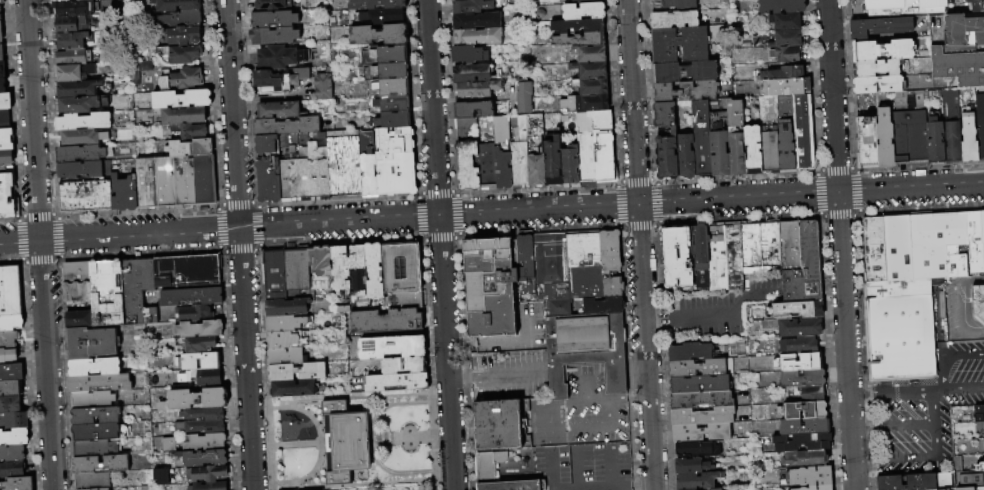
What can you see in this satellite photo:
building: (60, 0)
building: (580, 1)
building: (2, 2)
building: (273, 4)
building: (376, 4)
building: (676, 4)
building: (176, 5)
building: (882, 5)
building: (974, 5)
building: (471, 6)
building: (781, 6)
building: (0, 8)
building: (76, 8)
building: (583, 11)
building: (0, 16)
building: (378, 17)
building: (182, 19)
building: (273, 20)
building: (476, 20)
building: (673, 20)
building: (787, 21)
building: (71, 24)
building: (880, 28)
building: (963, 29)
building: (1, 32)
building: (593, 33)
building: (379, 35)
building: (185, 36)
building: (274, 36)
building: (477, 36)
building: (787, 39)
building: (70, 40)
building: (680, 45)
building: (882, 51)
building: (1, 53)
building: (181, 54)
building: (467, 54)
building: (591, 54)
building: (787, 54)
building: (385, 55)
building: (76, 57)
building: (280, 57)
building: (146, 66)
building: (958, 68)
building: (2, 69)
building: (876, 69)
building: (592, 70)
building: (385, 72)
building: (683, 72)
building: (74, 73)
building: (471, 73)
building: (786, 73)
building: (135, 78)
building: (181, 79)
building: (279, 82)
building: (2, 85)
building: (879, 85)
building: (323, 86)
building: (593, 87)
building: (786, 87)
building: (80, 88)
building: (388, 88)
building: (475, 88)
building: (933, 94)
building: (688, 96)
building: (523, 97)
building: (179, 98)
building: (5, 101)
road: (631, 102)
building: (392, 103)
building: (585, 103)
building: (77, 105)
building: (473, 109)
building: (278, 110)
building: (734, 113)
building: (181, 115)
building: (663, 115)
building: (4, 118)
building: (392, 120)
building: (592, 121)
building: (84, 122)
building: (980, 125)
building: (286, 126)
building: (465, 127)
building: (187, 130)
building: (909, 130)
building: (803, 133)
building: (785, 135)
building: (82, 137)
building: (884, 138)
building: (6, 139)
building: (969, 140)
building: (952, 143)
building: (265, 144)
building: (867, 144)
building: (936, 144)
building: (187, 147)
building: (701, 149)
building: (753, 150)
building: (80, 152)
building: (502, 153)
building: (719, 153)
building: (769, 153)
building: (736, 154)
building: (519, 156)
building: (685, 156)
building: (6, 158)
building: (666, 158)
building: (586, 159)
building: (605, 159)
building: (395, 161)
building: (553, 162)
building: (344, 164)
building: (367, 164)
building: (467, 166)
building: (487, 166)
building: (81, 168)
building: (570, 168)
building: (302, 169)
building: (536, 172)
building: (202, 178)
building: (268, 179)
building: (182, 180)
building: (163, 181)
building: (144, 182)
building: (122, 192)
building: (83, 194)
traffic signals: (837, 194)
road: (810, 195)
building: (8, 197)
traffic signals: (637, 205)
road: (318, 224)
road: (239, 244)
building: (768, 244)
building: (787, 244)
building: (946, 244)
road: (39, 245)
road: (438, 245)
building: (749, 245)
road: (840, 245)
building: (897, 247)
building: (873, 250)
building: (609, 251)
building: (674, 256)
building: (698, 256)
building: (732, 257)
building: (715, 258)
building: (525, 263)
building: (551, 264)
building: (583, 264)
building: (320, 266)
building: (346, 266)
building: (402, 267)
building: (803, 268)
building: (297, 269)
building: (188, 270)
building: (375, 271)
building: (275, 276)
road: (970, 282)
building: (359, 285)
building: (490, 286)
building: (611, 286)
building: (77, 287)
building: (896, 289)
building: (138, 291)
building: (10, 292)
building: (107, 293)
road: (757, 295)
building: (191, 297)
building: (404, 301)
building: (977, 303)
road: (740, 306)
building: (287, 307)
parking lot: (721, 310)
building: (793, 311)
building: (193, 313)
road: (959, 314)
road: (707, 318)
building: (80, 320)
building: (386, 321)
road: (658, 321)
building: (10, 323)
building: (288, 323)
building: (793, 327)
building: (200, 329)
building: (899, 338)
building: (8, 340)
building: (289, 340)
road: (514, 342)
building: (92, 343)
building: (585, 343)
building: (197, 344)
road: (460, 345)
building: (798, 346)
building: (392, 347)
road: (645, 347)
building: (689, 352)
building: (9, 355)
building: (286, 357)
road: (949, 357)
building: (797, 363)
building: (185, 364)
building: (404, 365)
building: (95, 367)
building: (699, 367)
building: (11, 372)
building: (297, 372)
parking lot: (508, 375)
building: (202, 377)
road: (506, 377)
road: (459, 379)
building: (801, 379)
building: (397, 382)
building: (100, 383)
building: (698, 384)
building: (11, 388)
building: (294, 388)
road: (585, 390)
street lamp: (417, 391)
road: (928, 392)
building: (807, 393)
street lamp: (374, 394)
street lamp: (331, 396)
road: (367, 396)
road: (628, 397)
road: (861, 397)
building: (700, 399)
building: (94, 400)
building: (193, 400)
road: (581, 401)
street lamp: (274, 402)
road: (397, 403)
building: (11, 404)
road: (308, 405)
road: (295, 408)
street lamp: (303, 408)
parking lot: (924, 408)
building: (800, 410)
building: (203, 414)
building: (978, 414)
building: (95, 416)
building: (700, 417)
building: (965, 418)
building: (14, 421)
building: (500, 425)
building: (201, 427)
building: (803, 427)
road: (904, 427)
street lamp: (322, 430)
road: (585, 430)
road: (863, 430)
street lamp: (400, 431)
street lamp: (417, 431)
building: (100, 432)
building: (699, 433)
road: (421, 437)
building: (14, 438)
road: (371, 439)
park: (351, 441)
building: (197, 442)
building: (345, 442)
building: (801, 443)
road: (287, 445)
street lamp: (418, 445)
street lamp: (401, 446)
building: (93, 448)
building: (696, 449)
road: (934, 449)
building: (12, 453)
street lamp: (323, 456)
building: (203, 458)
building: (805, 458)
building: (983, 461)
building: (101, 464)
building: (489, 464)
building: (958, 464)
building: (691, 466)
road: (869, 467)
building: (980, 467)
building: (12, 469)
road: (400, 473)
building: (206, 474)
building: (159, 476)
building: (807, 477)
building: (92, 480)
road: (298, 480)
building: (970, 480)
road: (411, 481)
building: (696, 481)
building: (914, 482)
building: (17, 484)
street lamp: (303, 484)
road: (361, 485)
street lamp: (423, 485)
building: (514, 485)
building: (209, 486)
street lamp: (376, 486)
road: (322, 487)
building: (811, 488)
building: (824, 488)
building: (98, 489)
street lamp: (340, 489)
building: (715, 489)
building: (799, 489)
building: (941, 489)
building: (966, 489)

